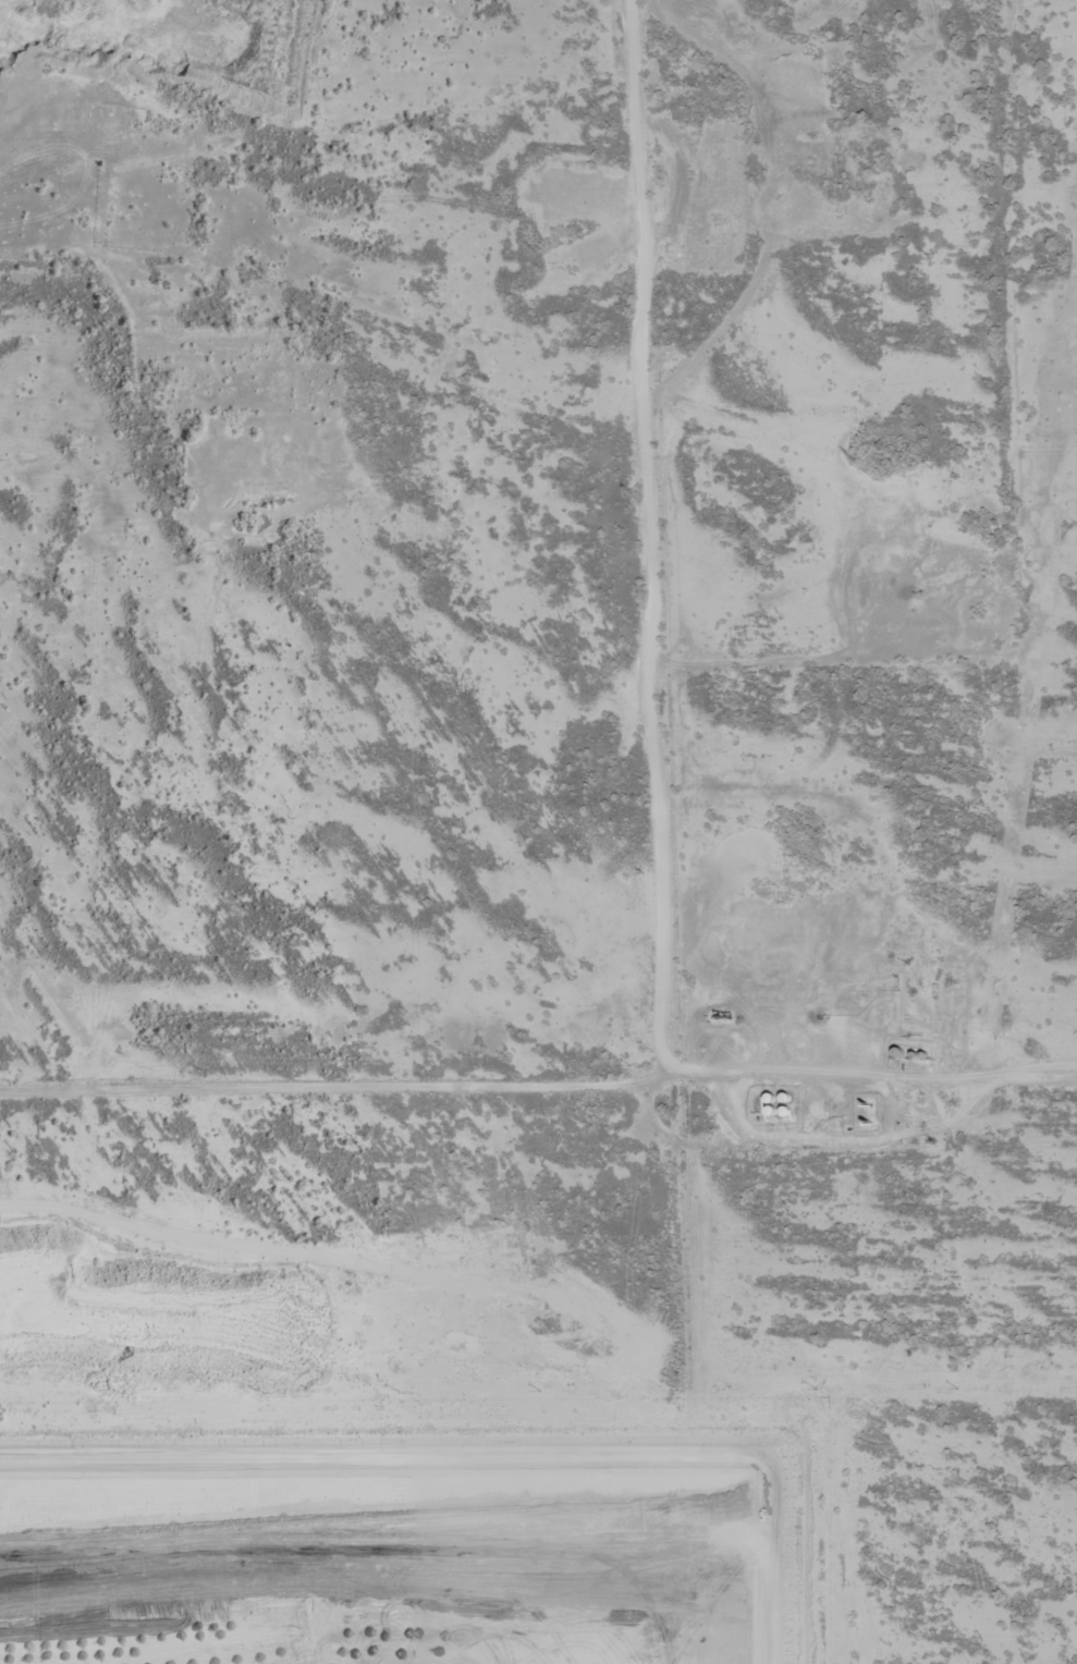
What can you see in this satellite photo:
road: (636, 603)

